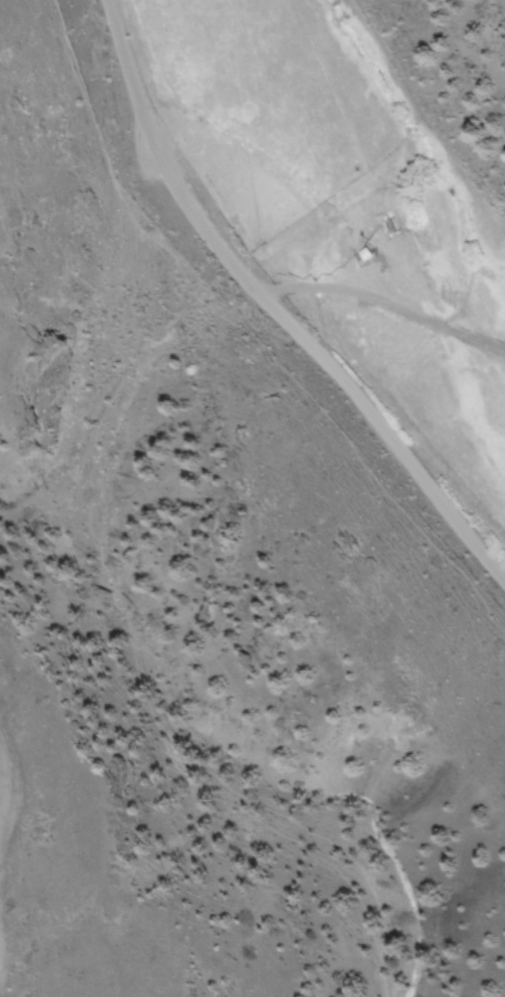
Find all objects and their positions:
building: (364, 255)
road: (285, 292)

